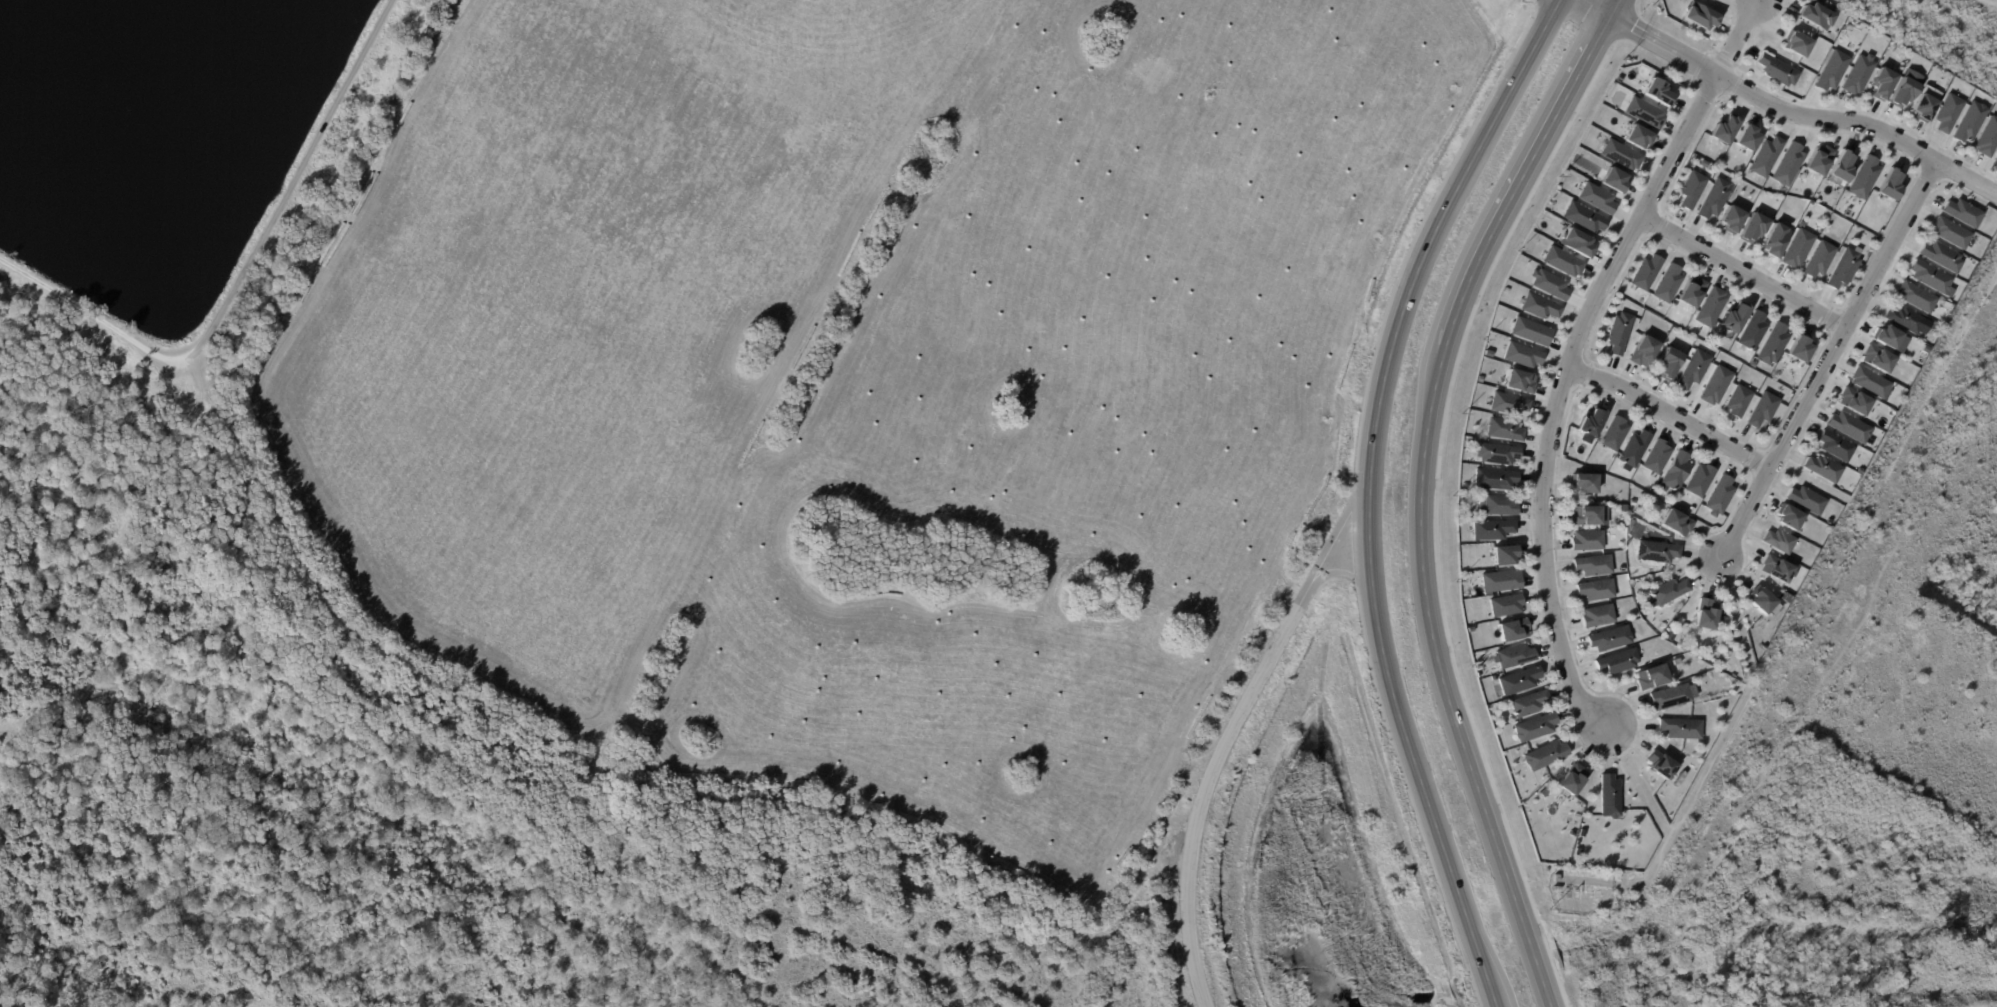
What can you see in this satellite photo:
building: (1710, 0)
building: (1698, 15)
building: (1814, 15)
building: (1794, 42)
building: (1775, 69)
building: (1830, 70)
building: (1856, 73)
building: (1879, 82)
building: (1656, 91)
building: (1901, 91)
building: (1921, 107)
road: (1787, 109)
building: (1946, 111)
building: (1643, 112)
building: (1968, 121)
building: (1722, 128)
building: (1636, 136)
building: (1986, 136)
building: (1745, 137)
wastewater plant: (204, 152)
building: (1619, 154)
building: (1764, 155)
building: (1995, 157)
building: (1816, 158)
building: (1703, 163)
building: (1786, 163)
building: (1839, 165)
building: (1861, 177)
building: (1613, 179)
road: (291, 182)
building: (1887, 184)
building: (1690, 188)
building: (1595, 197)
building: (1712, 198)
building: (1961, 212)
building: (1581, 216)
building: (1730, 218)
building: (1751, 227)
building: (1949, 232)
building: (1773, 239)
building: (1575, 242)
building: (1795, 248)
building: (1940, 255)
building: (1817, 258)
building: (1561, 261)
building: (1841, 268)
road: (1744, 271)
building: (1643, 272)
building: (1928, 275)
building: (1666, 282)
building: (1547, 283)
building: (1504, 289)
building: (1689, 290)
building: (1914, 296)
building: (1538, 306)
building: (1708, 306)
road: (90, 315)
building: (1732, 316)
building: (1905, 319)
building: (1750, 329)
building: (1529, 330)
building: (1617, 332)
building: (1888, 337)
building: (1770, 343)
building: (1797, 348)
building: (1641, 350)
building: (1486, 352)
road: (1574, 352)
building: (1521, 354)
building: (1875, 357)
road: (1828, 360)
building: (1666, 362)
parking lot: (182, 365)
building: (1691, 368)
crop: (866, 373)
building: (1478, 378)
building: (1518, 380)
building: (1867, 381)
building: (1714, 384)
building: (1736, 400)
building: (1852, 400)
building: (1506, 402)
building: (1760, 408)
road: (1671, 413)
building: (1588, 424)
building: (1847, 425)
building: (1502, 428)
building: (1612, 432)
building: (1833, 445)
building: (1631, 449)
building: (1495, 452)
building: (1655, 456)
building: (1821, 467)
building: (1674, 470)
building: (1858, 470)
building: (1492, 478)
building: (1697, 478)
building: (1581, 482)
road: (1419, 491)
road: (1367, 492)
building: (1717, 495)
building: (1805, 499)
building: (1495, 504)
building: (1587, 514)
building: (1787, 516)
building: (1828, 521)
building: (1674, 522)
road: (1339, 523)
building: (1490, 528)
building: (1585, 539)
building: (1777, 540)
road: (116, 546)
building: (1654, 550)
building: (1502, 553)
building: (1591, 564)
building: (1619, 567)
building: (1775, 567)
road: (1344, 572)
building: (1499, 580)
building: (1594, 589)
building: (1666, 590)
road: (1303, 593)
building: (1783, 596)
building: (1761, 600)
building: (1504, 605)
building: (1703, 613)
building: (1596, 615)
building: (1467, 628)
building: (1511, 628)
building: (1667, 636)
building: (1607, 638)
building: (1512, 655)
building: (1615, 660)
building: (1649, 675)
building: (1517, 679)
building: (1667, 696)
building: (1526, 702)
building: (1532, 726)
building: (1679, 728)
building: (1542, 754)
building: (1658, 764)
building: (1570, 778)
building: (1542, 791)
building: (1607, 795)
road: (1203, 796)
dam: (1247, 841)

